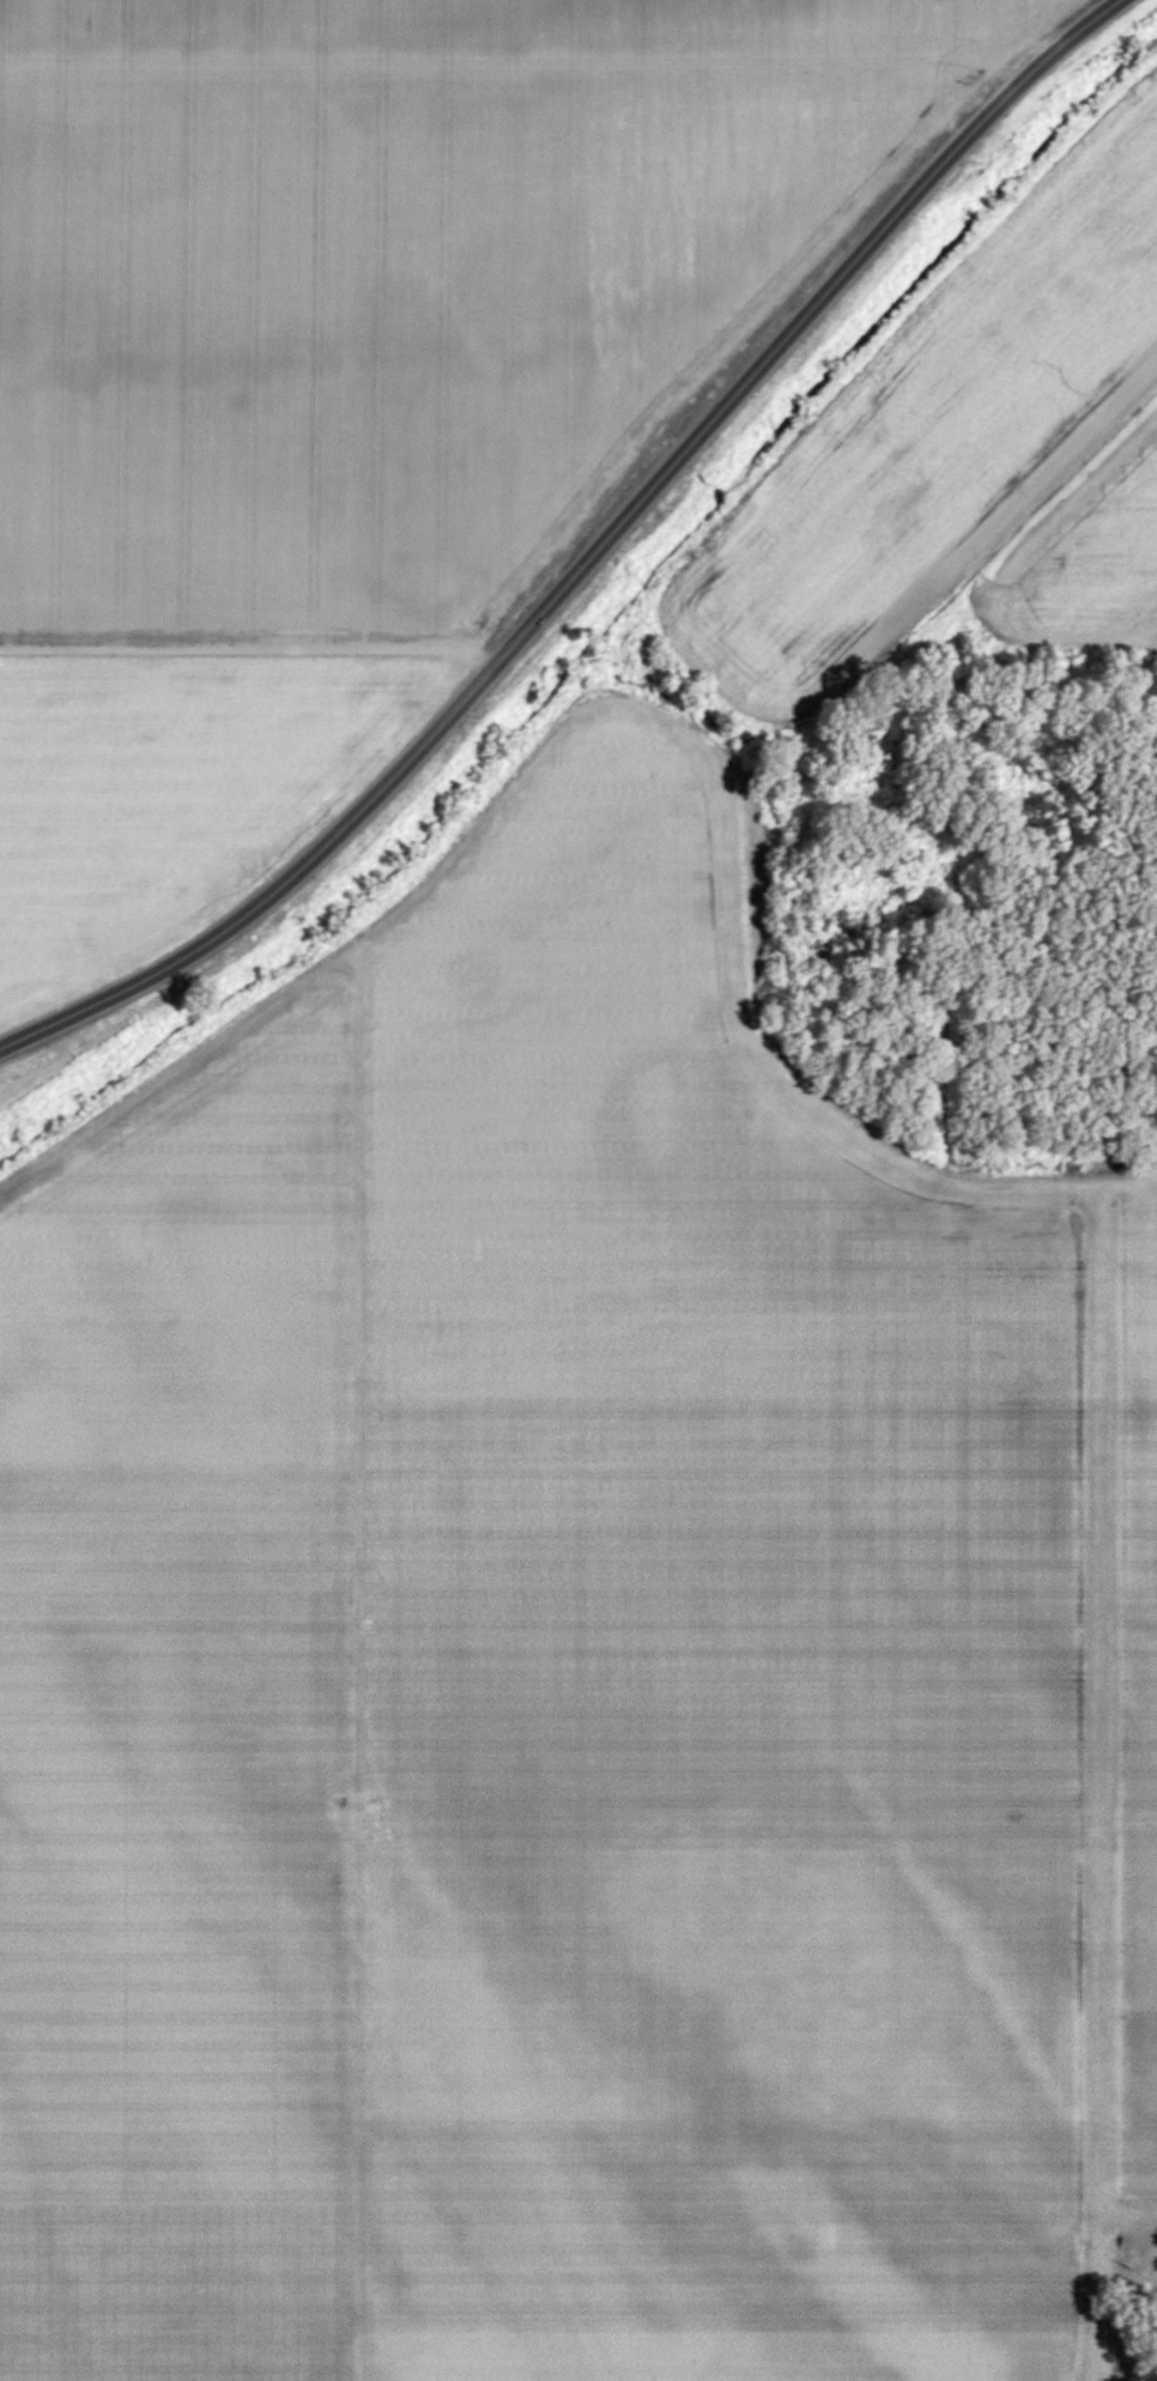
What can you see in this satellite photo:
road: (589, 562)

